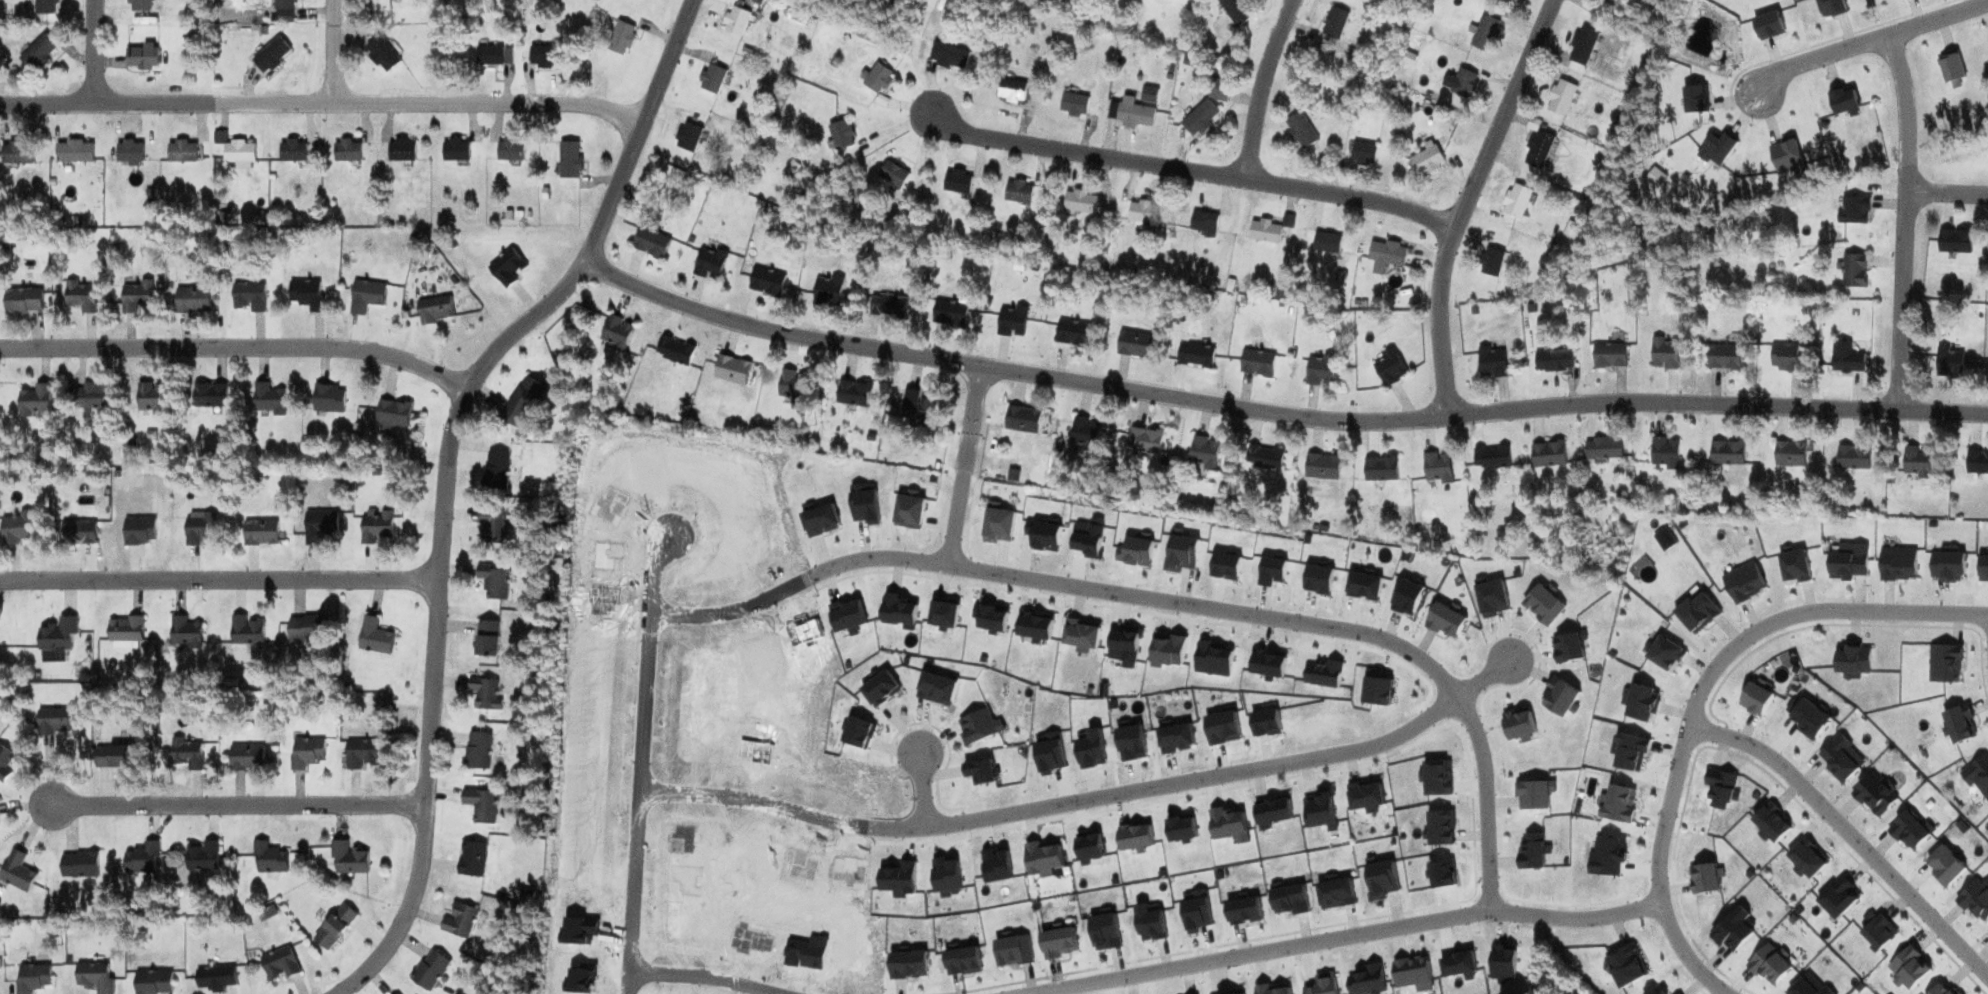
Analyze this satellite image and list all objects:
building: (1508, 0)
building: (138, 5)
building: (377, 5)
building: (44, 7)
building: (282, 10)
building: (1234, 11)
building: (734, 21)
building: (1334, 23)
building: (1484, 33)
building: (620, 38)
road: (1869, 43)
building: (1581, 46)
road: (94, 51)
road: (333, 51)
building: (37, 53)
building: (380, 54)
building: (269, 55)
building: (487, 56)
building: (546, 56)
building: (948, 56)
building: (140, 58)
building: (876, 78)
building: (710, 79)
building: (1463, 83)
road: (1260, 86)
building: (1217, 89)
building: (1010, 90)
building: (1150, 93)
building: (1559, 97)
road: (322, 103)
building: (1072, 105)
building: (1130, 112)
building: (1198, 117)
building: (1300, 130)
building: (840, 134)
building: (687, 137)
building: (454, 149)
building: (508, 149)
building: (291, 150)
building: (346, 150)
building: (400, 150)
building: (73, 151)
building: (128, 151)
building: (181, 151)
building: (237, 151)
building: (16, 153)
building: (1362, 153)
building: (568, 160)
building: (1426, 161)
road: (1196, 171)
building: (892, 174)
building: (956, 181)
building: (1017, 191)
road: (1948, 192)
building: (1514, 200)
building: (1079, 201)
road: (1464, 201)
building: (1852, 209)
building: (1140, 212)
building: (1202, 222)
road: (1906, 222)
building: (1263, 231)
building: (1954, 241)
building: (649, 242)
building: (1325, 243)
building: (1385, 255)
building: (1490, 262)
building: (708, 263)
building: (506, 267)
building: (1853, 270)
building: (765, 281)
building: (826, 291)
road: (559, 293)
building: (305, 295)
building: (79, 296)
building: (135, 296)
building: (365, 296)
building: (248, 297)
building: (191, 300)
building: (22, 301)
building: (887, 306)
building: (433, 310)
building: (948, 314)
building: (1010, 322)
building: (615, 331)
building: (1071, 333)
building: (1133, 344)
road: (178, 345)
building: (673, 351)
building: (1663, 354)
building: (1194, 355)
building: (1608, 355)
building: (1722, 357)
building: (1785, 357)
building: (1845, 358)
building: (1490, 361)
building: (1552, 361)
building: (1256, 362)
road: (413, 363)
building: (1949, 363)
building: (1388, 367)
building: (730, 369)
building: (1319, 370)
building: (791, 386)
building: (852, 393)
building: (209, 395)
building: (89, 396)
building: (150, 398)
building: (327, 398)
building: (266, 399)
building: (34, 401)
building: (520, 401)
building: (917, 406)
building: (391, 413)
road: (1276, 413)
building: (1020, 419)
road: (1537, 424)
building: (1083, 431)
building: (1143, 441)
building: (1603, 448)
building: (1203, 452)
building: (1726, 452)
building: (1663, 453)
building: (1547, 454)
building: (1788, 454)
building: (1852, 457)
building: (1263, 458)
building: (1490, 458)
building: (1916, 462)
building: (1976, 462)
road: (964, 465)
building: (1320, 467)
building: (1436, 467)
building: (1379, 469)
building: (495, 470)
building: (317, 525)
building: (491, 526)
building: (375, 527)
building: (18, 528)
building: (196, 528)
building: (137, 531)
building: (76, 533)
building: (258, 533)
road: (219, 578)
building: (492, 582)
road: (1170, 600)
building: (304, 629)
building: (123, 630)
building: (244, 630)
building: (182, 633)
building: (56, 637)
building: (373, 637)
building: (485, 639)
road: (1730, 658)
road: (1484, 678)
building: (484, 693)
building: (53, 722)
building: (476, 751)
building: (305, 752)
building: (185, 753)
building: (360, 754)
building: (110, 757)
building: (245, 757)
road: (642, 761)
building: (5, 763)
road: (923, 787)
road: (424, 799)
road: (1055, 804)
building: (479, 805)
road: (243, 806)
road: (1852, 835)
building: (201, 856)
building: (141, 859)
building: (267, 859)
building: (470, 859)
building: (346, 860)
building: (77, 865)
building: (15, 872)
building: (457, 921)
building: (333, 927)
road: (1344, 938)
road: (1691, 959)
building: (278, 965)
building: (428, 971)
road: (705, 975)
building: (92, 977)
building: (31, 978)
building: (213, 979)
building: (151, 983)

